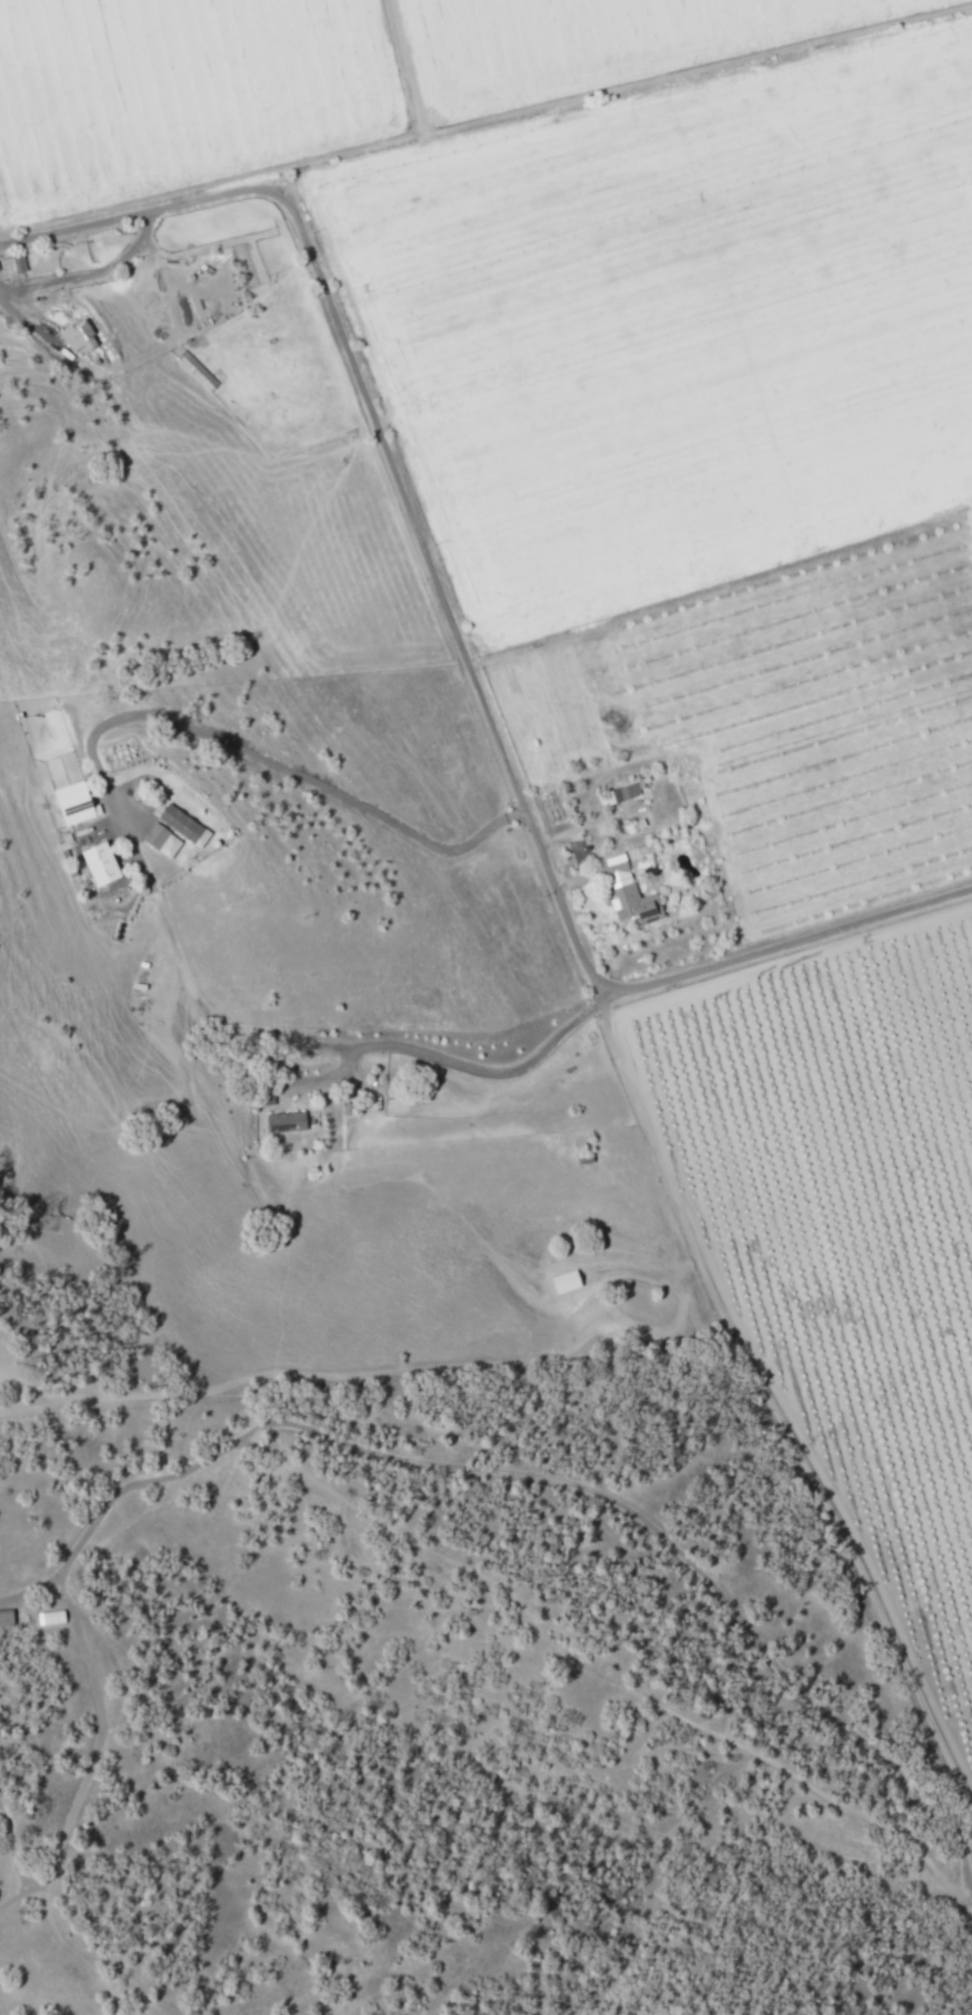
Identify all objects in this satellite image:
building: (11, 264)
road: (92, 273)
road: (18, 313)
building: (79, 335)
road: (392, 452)
crop: (784, 725)
road: (239, 749)
building: (626, 791)
building: (75, 803)
building: (180, 823)
building: (155, 836)
building: (100, 863)
building: (635, 896)
road: (792, 940)
road: (468, 1062)
building: (287, 1120)
building: (568, 1279)
road: (768, 1400)
road: (535, 1476)
building: (6, 1616)
road: (86, 1622)
road: (94, 1757)
road: (12, 1848)

